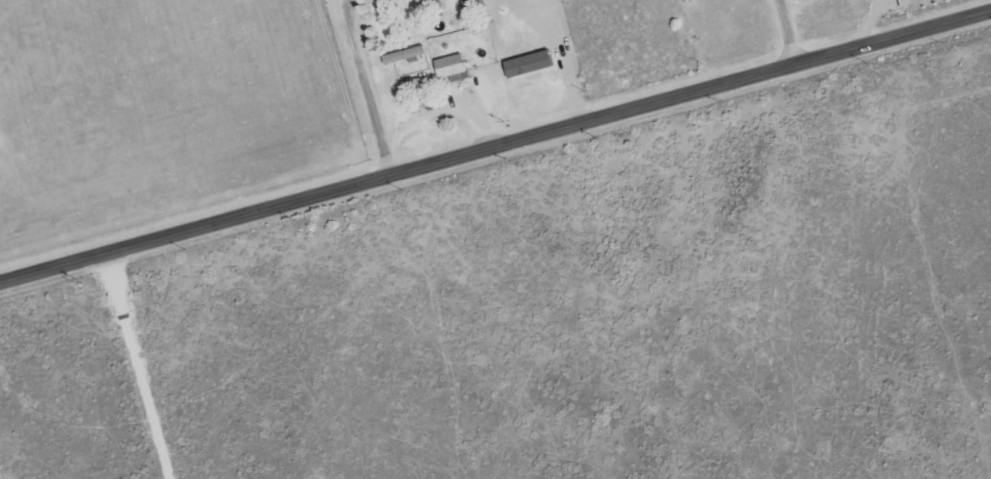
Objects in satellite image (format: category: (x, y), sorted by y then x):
building: (902, 4)
building: (426, 6)
building: (464, 6)
road: (784, 36)
building: (402, 57)
building: (449, 69)
road: (374, 90)
building: (420, 90)
crop: (168, 123)
road: (495, 153)

